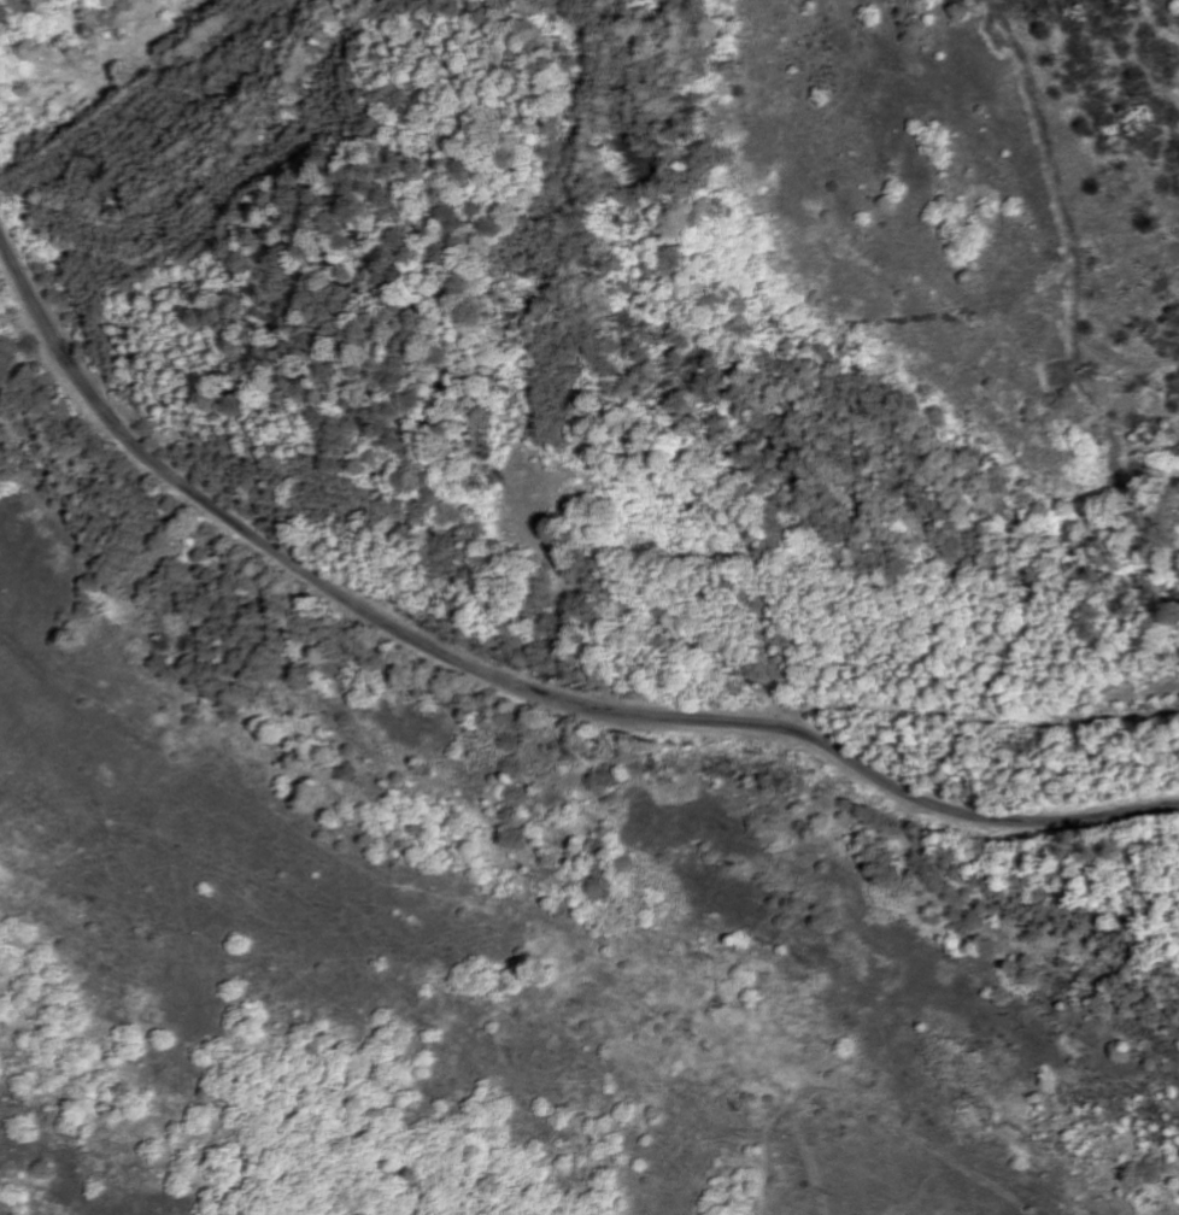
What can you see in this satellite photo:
road: (510, 682)

